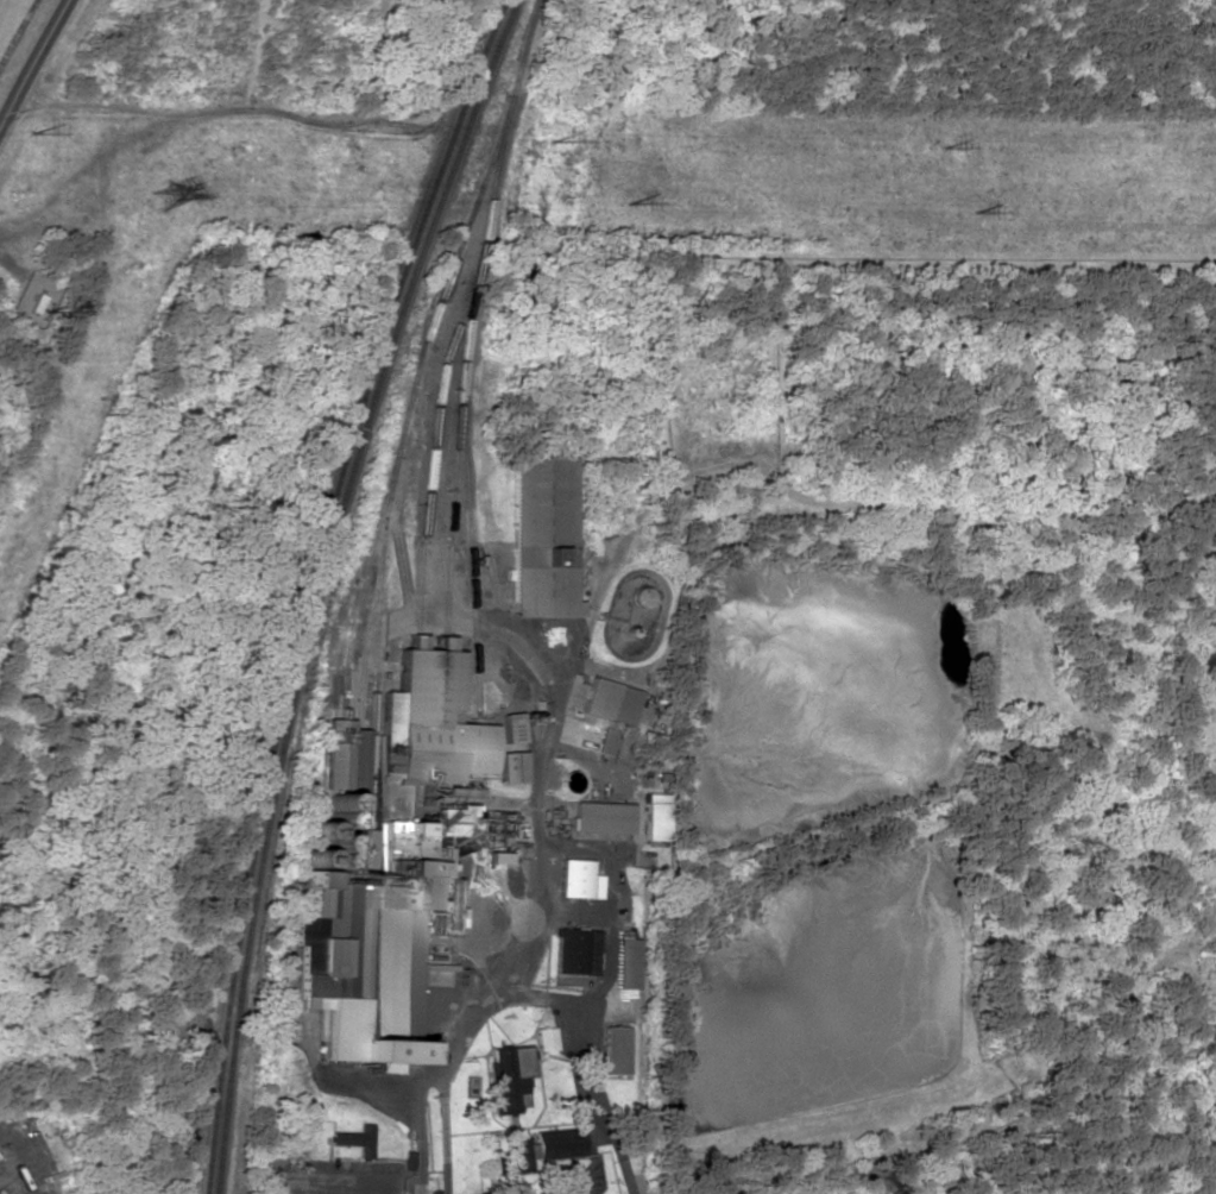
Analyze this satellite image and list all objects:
railway: (525, 45)
road: (34, 64)
power tower: (38, 136)
power tower: (552, 144)
power tower: (938, 151)
power tower: (170, 196)
power tower: (630, 202)
power tower: (974, 207)
railway: (461, 415)
railway: (431, 446)
railway: (395, 452)
railway: (449, 497)
railway: (434, 534)
building: (540, 538)
railway: (310, 584)
railway: (320, 584)
building: (636, 598)
railway: (353, 607)
railway: (346, 675)
building: (607, 702)
railway: (358, 710)
building: (435, 721)
building: (603, 741)
building: (600, 817)
building: (654, 817)
building: (395, 835)
building: (577, 880)
building: (442, 906)
building: (314, 918)
building: (574, 951)
building: (625, 963)
building: (376, 981)
building: (546, 1039)
building: (615, 1050)
building: (509, 1077)
building: (354, 1140)
building: (534, 1150)
railway: (204, 1193)
railway: (215, 1193)

